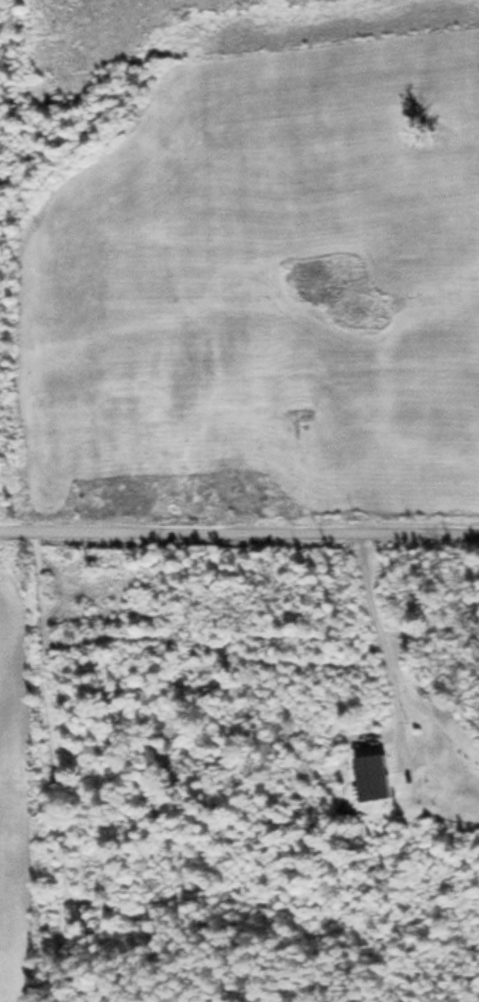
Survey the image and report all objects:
road: (239, 522)
building: (375, 779)

